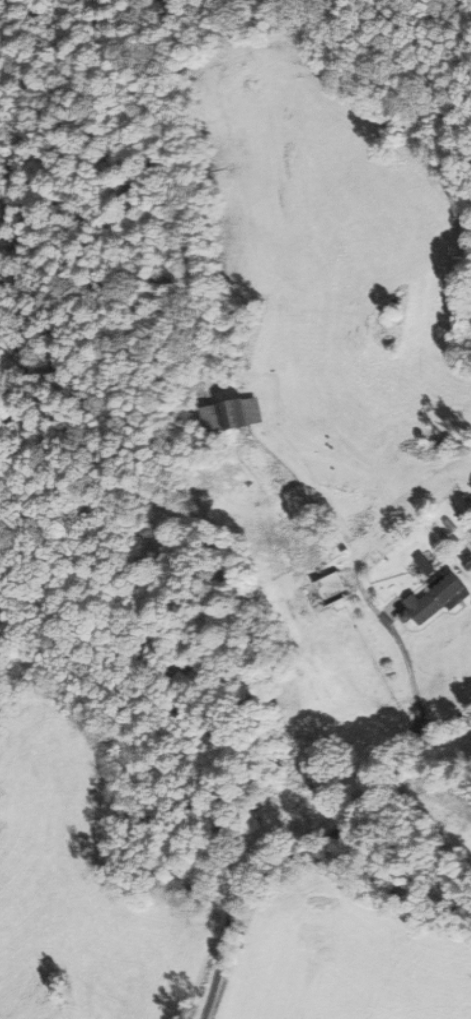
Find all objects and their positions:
building: (232, 415)
building: (440, 598)
road: (288, 816)

